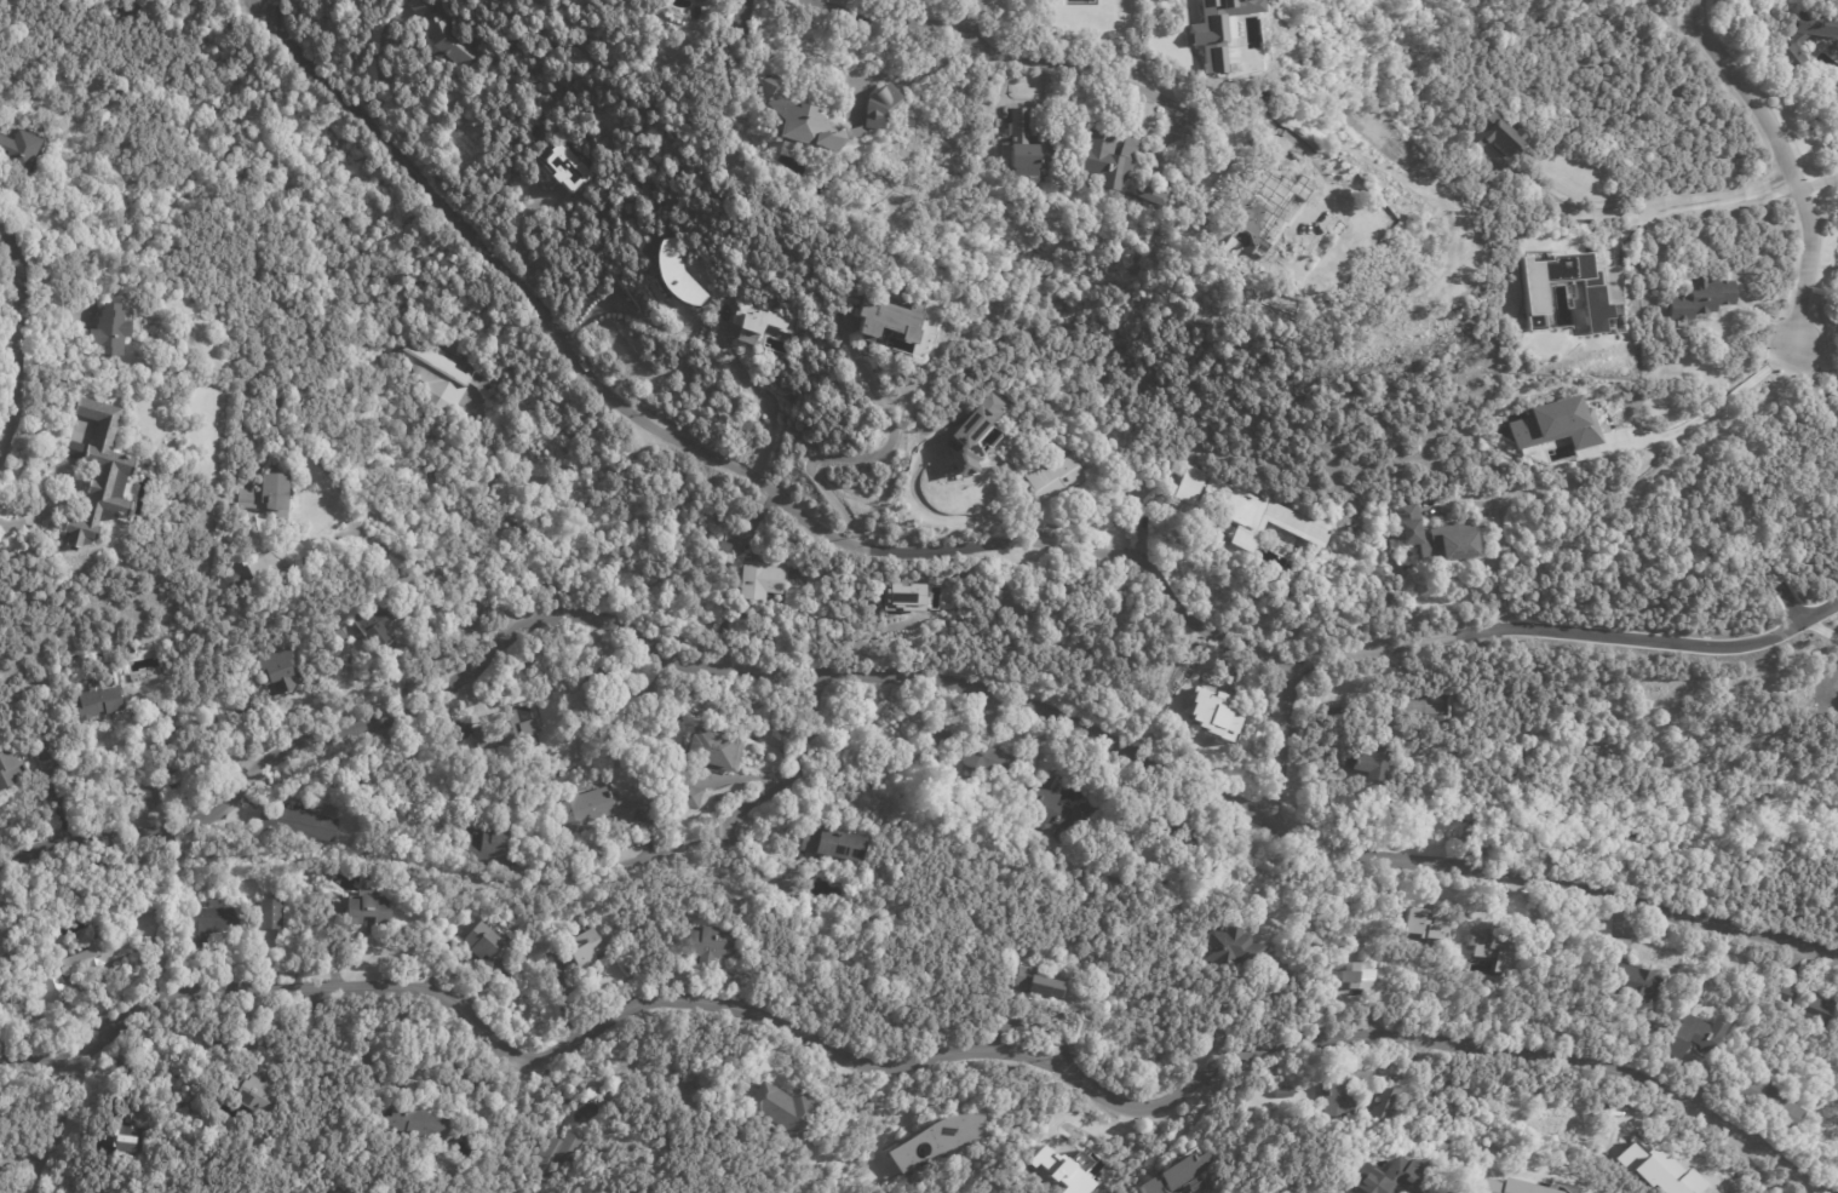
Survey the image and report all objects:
road: (260, 0)
building: (420, 6)
road: (917, 18)
road: (983, 18)
building: (1216, 29)
building: (452, 41)
building: (1792, 41)
road: (379, 69)
road: (1096, 85)
building: (828, 117)
building: (1836, 130)
building: (1498, 136)
building: (1023, 147)
building: (21, 150)
building: (1113, 157)
road: (1790, 164)
building: (567, 167)
building: (1250, 193)
building: (1159, 196)
road: (1647, 211)
building: (1345, 231)
building: (679, 279)
building: (1532, 292)
building: (1698, 299)
road: (618, 304)
building: (891, 319)
building: (760, 322)
building: (1534, 322)
building: (111, 332)
road: (18, 335)
building: (447, 377)
road: (759, 400)
building: (277, 405)
road: (1708, 409)
building: (1556, 425)
building: (971, 435)
road: (714, 457)
road: (858, 457)
building: (98, 475)
building: (685, 478)
building: (1058, 478)
building: (1592, 489)
building: (271, 494)
building: (1250, 511)
road: (943, 512)
building: (1357, 529)
building: (1442, 534)
building: (725, 547)
road: (395, 549)
road: (1500, 560)
building: (239, 575)
building: (765, 583)
building: (902, 597)
road: (1814, 606)
building: (380, 621)
road: (1685, 638)
road: (1411, 648)
building: (280, 670)
road: (896, 676)
building: (610, 686)
building: (97, 701)
building: (1214, 702)
building: (246, 704)
building: (511, 733)
building: (477, 738)
road: (1288, 745)
building: (718, 749)
building: (48, 750)
building: (975, 752)
building: (1374, 758)
building: (1734, 759)
building: (11, 768)
road: (159, 780)
building: (693, 797)
building: (322, 802)
building: (597, 808)
building: (1064, 813)
building: (299, 824)
road: (730, 826)
building: (1185, 833)
building: (838, 843)
building: (489, 845)
building: (1128, 847)
road: (799, 887)
building: (371, 908)
building: (274, 914)
building: (212, 922)
building: (1425, 925)
building: (486, 940)
building: (1504, 943)
building: (716, 945)
building: (586, 948)
building: (1237, 948)
building: (82, 965)
building: (1635, 969)
building: (1362, 977)
building: (1046, 982)
building: (1786, 997)
building: (10, 1000)
building: (1696, 1002)
building: (1816, 1009)
building: (1696, 1036)
road: (912, 1060)
road: (489, 1088)
building: (1287, 1092)
building: (1345, 1094)
building: (259, 1096)
building: (609, 1099)
building: (1763, 1102)
building: (1392, 1103)
building: (791, 1109)
building: (419, 1117)
road: (1185, 1123)
road: (46, 1126)
building: (126, 1134)
building: (944, 1136)
building: (558, 1157)
building: (1061, 1170)
road: (1763, 1170)
building: (1185, 1176)
building: (1392, 1178)
building: (1678, 1181)
building: (1498, 1187)

